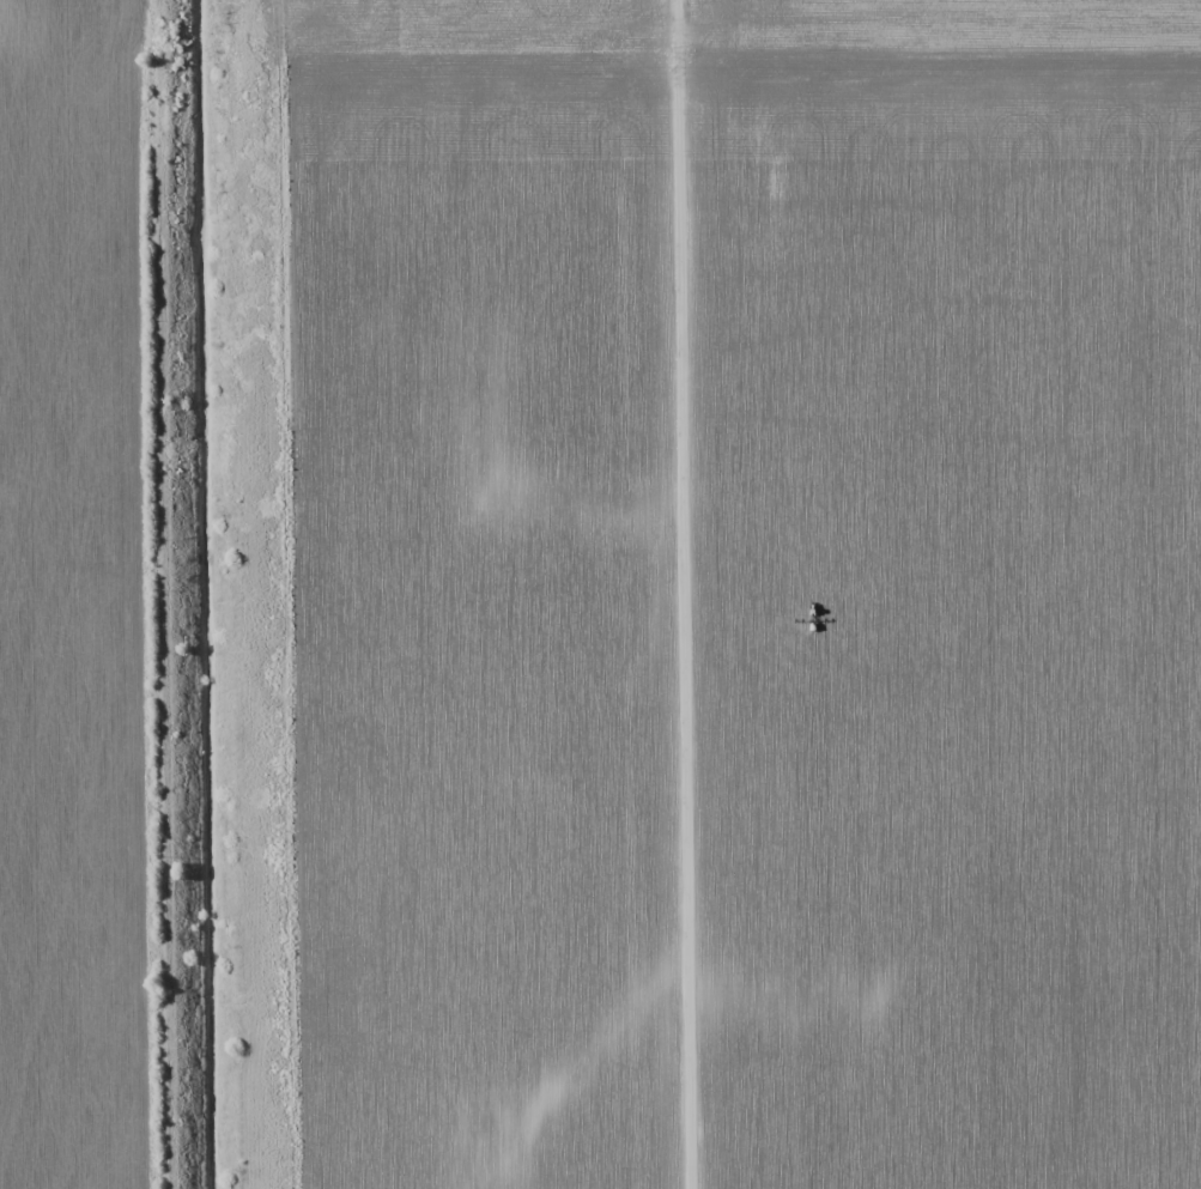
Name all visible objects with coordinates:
road: (933, 17)
road: (669, 594)

